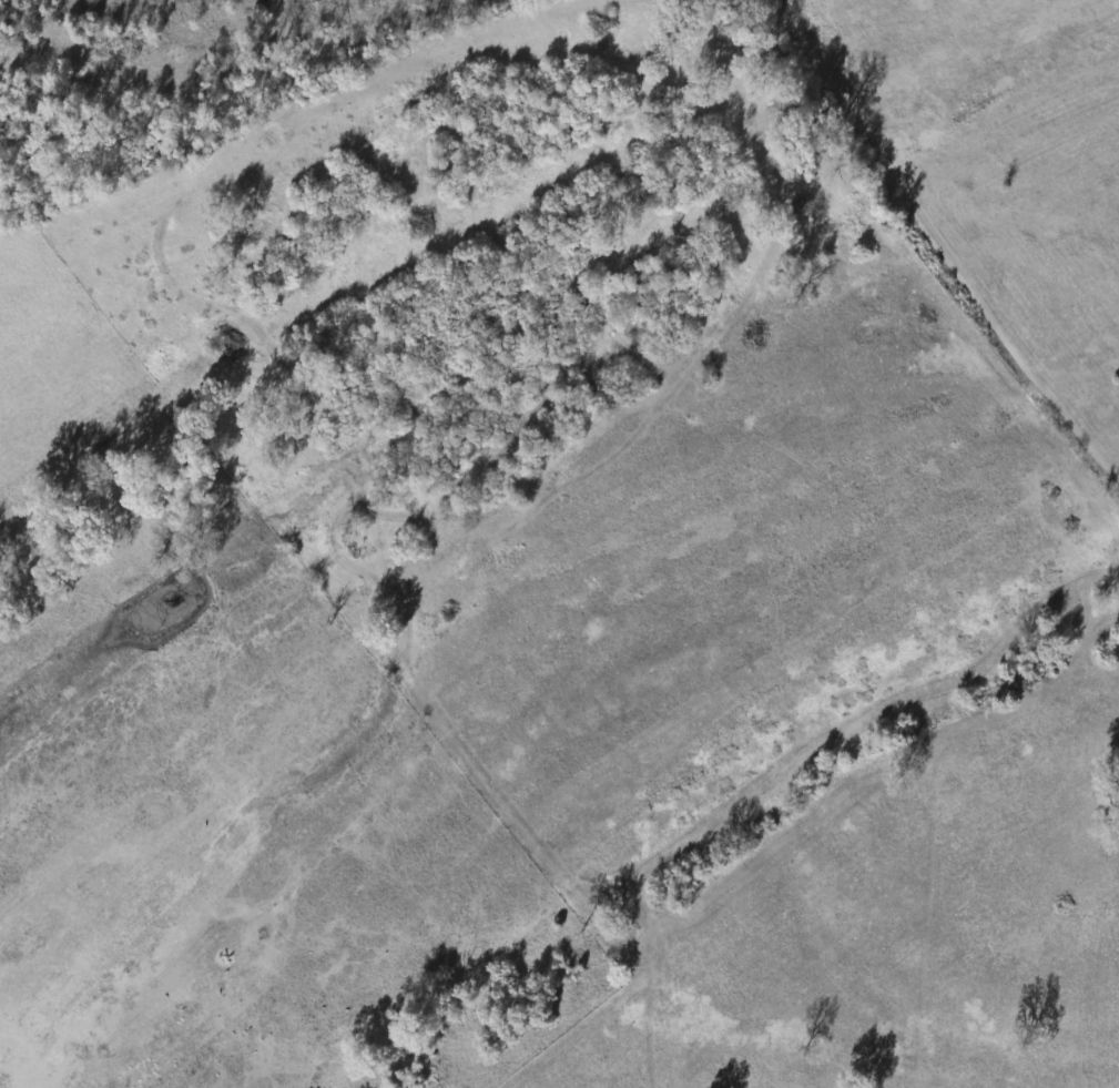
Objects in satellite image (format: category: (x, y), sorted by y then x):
road: (1051, 338)

